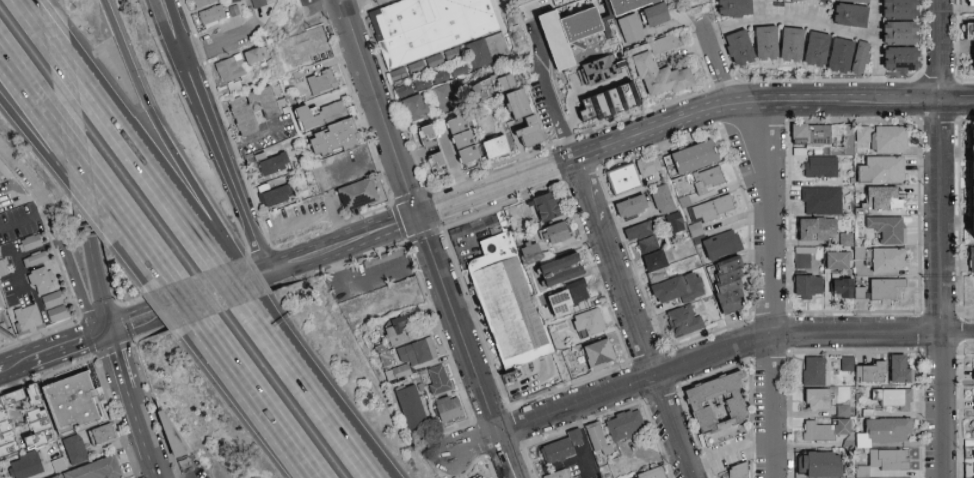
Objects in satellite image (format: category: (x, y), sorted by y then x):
building: (234, 0)
road: (341, 0)
building: (554, 0)
building: (794, 0)
building: (854, 1)
building: (201, 3)
building: (258, 3)
building: (970, 3)
building: (734, 8)
building: (899, 10)
building: (212, 14)
building: (655, 15)
building: (850, 16)
road: (29, 20)
road: (790, 24)
building: (430, 26)
road: (178, 28)
building: (630, 29)
road: (162, 31)
building: (899, 33)
building: (970, 34)
building: (766, 43)
building: (791, 45)
road: (213, 47)
building: (308, 47)
building: (739, 47)
building: (815, 49)
road: (876, 50)
building: (253, 56)
building: (840, 56)
building: (859, 60)
building: (900, 60)
road: (58, 63)
building: (468, 63)
road: (715, 63)
building: (229, 69)
building: (645, 69)
building: (596, 70)
building: (321, 81)
road: (29, 84)
building: (492, 87)
road: (955, 97)
building: (444, 98)
road: (854, 101)
road: (751, 105)
building: (415, 107)
building: (253, 109)
road: (377, 109)
building: (597, 109)
building: (331, 112)
road: (551, 116)
building: (523, 117)
road: (651, 130)
road: (155, 133)
building: (812, 134)
building: (861, 134)
building: (427, 137)
building: (334, 139)
building: (462, 140)
building: (890, 140)
building: (844, 142)
road: (31, 143)
road: (74, 144)
building: (495, 148)
building: (364, 156)
building: (694, 157)
building: (437, 164)
road: (224, 165)
building: (273, 165)
road: (751, 165)
road: (771, 165)
building: (648, 166)
road: (77, 167)
building: (821, 167)
building: (881, 170)
road: (141, 176)
building: (623, 180)
building: (708, 180)
building: (972, 186)
road: (494, 189)
building: (275, 194)
building: (357, 194)
building: (663, 199)
building: (884, 199)
building: (822, 201)
road: (81, 202)
building: (631, 206)
building: (547, 207)
building: (713, 209)
traffic signals: (416, 218)
road: (25, 220)
building: (676, 221)
road: (132, 224)
building: (466, 229)
building: (816, 230)
building: (888, 230)
building: (554, 233)
road: (58, 235)
road: (940, 238)
building: (845, 239)
building: (29, 243)
building: (647, 245)
building: (722, 245)
road: (136, 253)
building: (530, 253)
building: (384, 257)
building: (804, 257)
building: (35, 259)
building: (971, 259)
building: (838, 260)
building: (888, 260)
building: (560, 270)
road: (261, 274)
road: (244, 280)
building: (40, 281)
road: (356, 281)
road: (226, 286)
building: (729, 286)
building: (808, 286)
building: (678, 288)
building: (845, 289)
building: (887, 290)
building: (580, 291)
road: (188, 302)
building: (509, 302)
building: (2, 303)
building: (560, 303)
building: (56, 307)
building: (28, 318)
road: (631, 319)
building: (685, 321)
building: (588, 323)
building: (397, 330)
building: (8, 334)
traffic signals: (107, 334)
road: (67, 348)
road: (282, 348)
road: (464, 348)
road: (273, 351)
road: (771, 351)
building: (598, 355)
road: (703, 357)
building: (411, 358)
road: (116, 363)
road: (15, 365)
road: (2, 369)
building: (899, 369)
building: (865, 370)
building: (814, 371)
building: (438, 380)
road: (253, 390)
building: (76, 399)
building: (818, 399)
building: (893, 399)
building: (717, 403)
building: (411, 406)
building: (448, 408)
building: (844, 411)
building: (24, 420)
building: (625, 426)
building: (825, 430)
building: (887, 430)
building: (102, 434)
building: (171, 434)
road: (140, 435)
road: (336, 437)
building: (597, 438)
road: (585, 444)
building: (560, 448)
building: (75, 450)
road: (727, 450)
building: (884, 462)
building: (25, 465)
building: (189, 465)
building: (818, 465)
road: (311, 468)
building: (94, 470)
building: (479, 471)
building: (737, 471)
building: (651, 473)
building: (558, 474)
building: (576, 477)
building: (580, 477)

